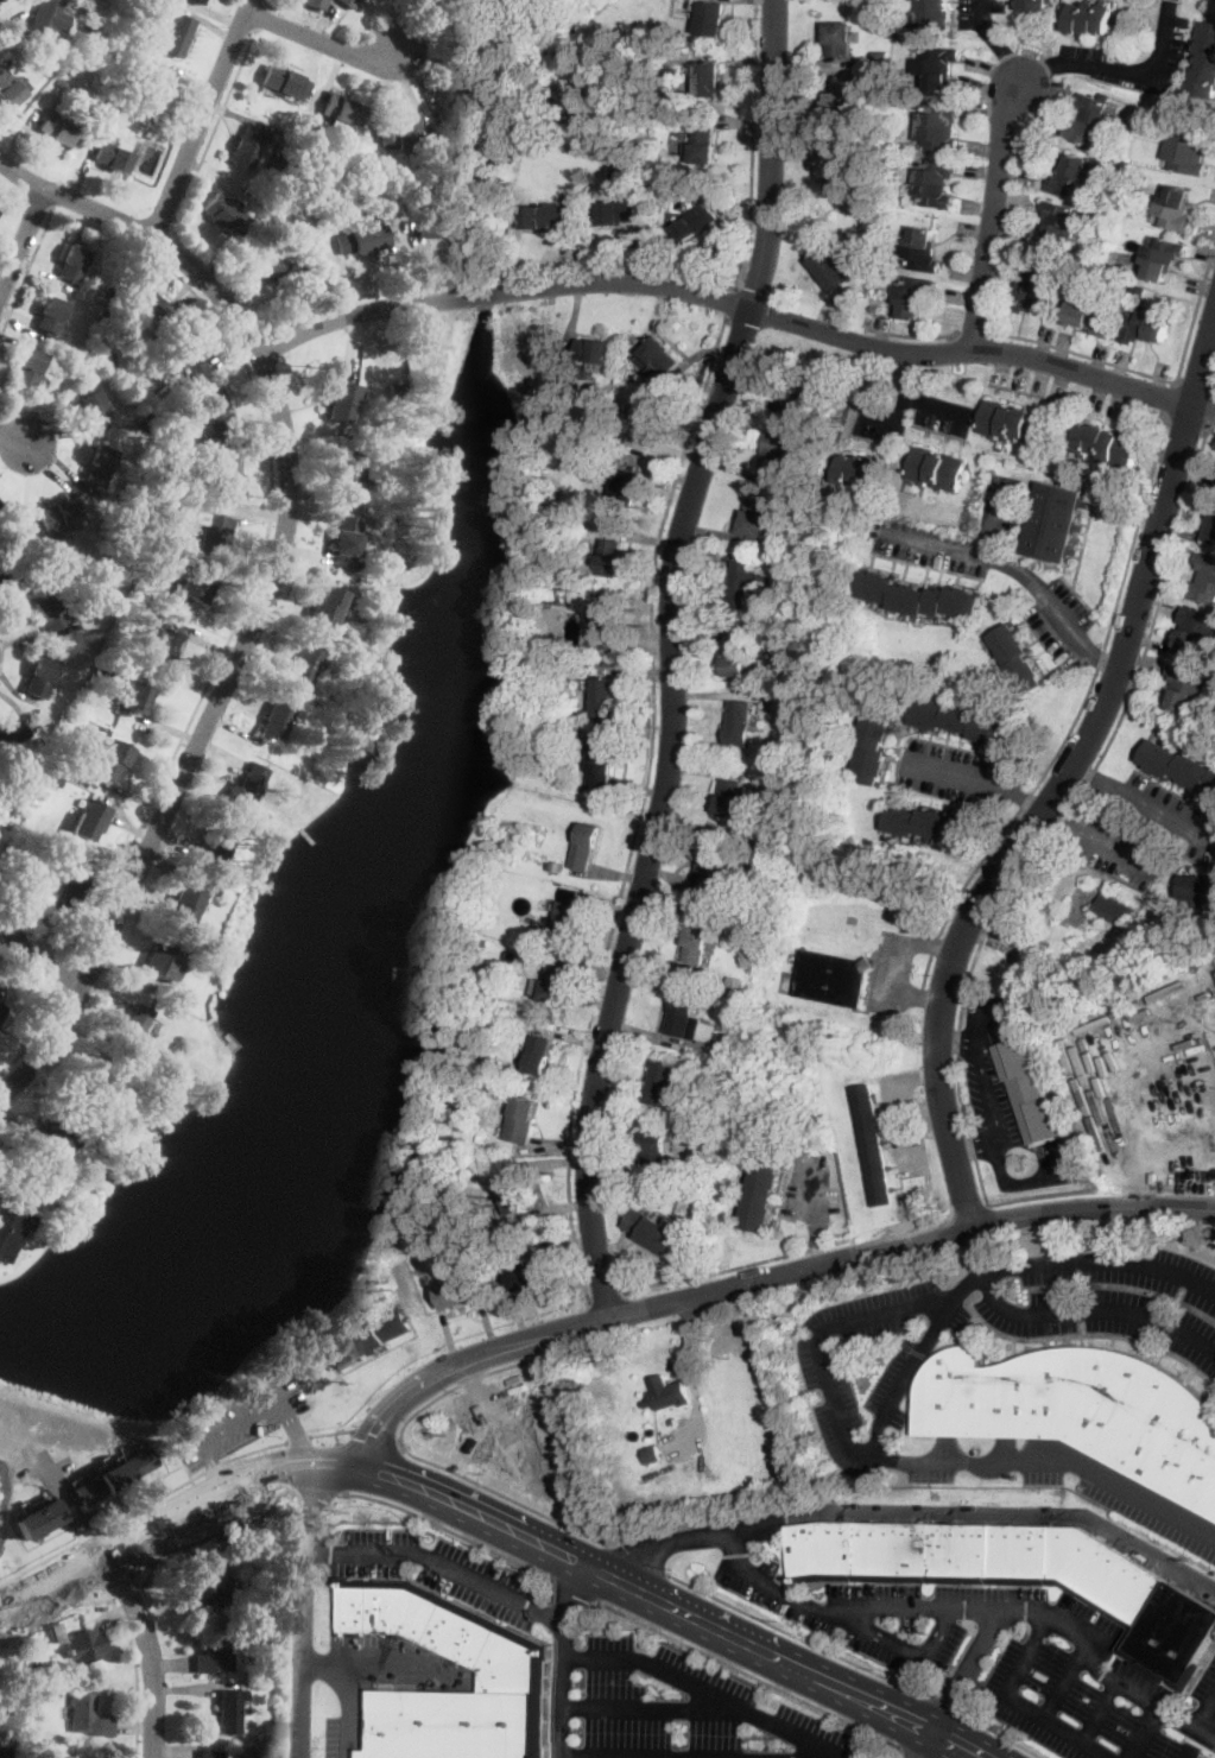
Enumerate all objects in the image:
building: (184, 1)
building: (197, 1)
road: (267, 2)
building: (315, 4)
building: (349, 4)
building: (1034, 5)
building: (113, 6)
building: (45, 15)
building: (932, 15)
road: (261, 18)
building: (1091, 18)
building: (713, 19)
building: (475, 33)
building: (177, 34)
building: (841, 38)
road: (318, 40)
building: (140, 42)
road: (995, 42)
building: (513, 43)
building: (94, 53)
building: (881, 56)
building: (1204, 61)
road: (1119, 67)
building: (52, 68)
building: (937, 69)
building: (68, 74)
building: (708, 78)
building: (61, 82)
building: (286, 82)
building: (488, 82)
building: (862, 83)
building: (156, 87)
building: (10, 89)
building: (266, 90)
building: (458, 91)
building: (128, 96)
road: (227, 102)
building: (113, 108)
building: (840, 109)
building: (342, 113)
road: (201, 119)
building: (1091, 119)
building: (312, 125)
building: (939, 127)
building: (55, 128)
building: (398, 129)
building: (148, 134)
building: (702, 140)
road: (754, 145)
building: (247, 146)
building: (1189, 148)
building: (112, 157)
building: (1072, 177)
building: (842, 181)
building: (935, 182)
road: (13, 190)
building: (248, 192)
building: (527, 200)
road: (37, 204)
building: (1176, 208)
building: (622, 210)
building: (226, 214)
building: (304, 214)
building: (545, 215)
road: (993, 215)
building: (695, 222)
building: (1059, 222)
building: (443, 227)
building: (367, 239)
road: (21, 241)
building: (922, 249)
building: (1163, 257)
building: (71, 261)
building: (830, 268)
building: (280, 272)
road: (25, 273)
road: (498, 278)
building: (113, 291)
building: (1036, 295)
building: (913, 296)
building: (143, 302)
road: (732, 303)
road: (739, 304)
building: (103, 312)
building: (1094, 314)
building: (50, 315)
building: (125, 322)
building: (1146, 325)
building: (118, 333)
road: (975, 334)
road: (915, 336)
road: (252, 342)
road: (1059, 347)
building: (594, 354)
building: (660, 355)
building: (183, 356)
building: (107, 365)
building: (82, 366)
building: (27, 368)
building: (567, 374)
road: (1196, 388)
road: (916, 397)
building: (802, 398)
road: (1171, 400)
building: (340, 403)
building: (91, 407)
building: (214, 411)
road: (1210, 415)
parking lot: (943, 417)
road: (893, 420)
building: (1015, 424)
building: (645, 425)
road: (13, 438)
building: (1109, 445)
building: (780, 451)
building: (99, 468)
building: (937, 469)
building: (348, 470)
building: (860, 470)
building: (226, 475)
building: (171, 483)
building: (627, 492)
building: (816, 497)
building: (170, 506)
building: (57, 517)
road: (996, 518)
building: (758, 519)
building: (1055, 521)
building: (1211, 527)
building: (1, 529)
building: (214, 532)
building: (346, 539)
road: (264, 551)
building: (15, 552)
building: (609, 557)
building: (797, 558)
road: (1001, 559)
parking lot: (998, 563)
building: (354, 565)
building: (0, 574)
building: (154, 574)
building: (1204, 580)
building: (191, 583)
building: (742, 584)
building: (8, 587)
road: (268, 590)
building: (919, 597)
building: (135, 601)
building: (795, 602)
building: (369, 605)
building: (327, 607)
building: (46, 613)
building: (607, 624)
building: (72, 626)
building: (1195, 630)
building: (99, 639)
building: (165, 645)
building: (342, 645)
building: (735, 653)
road: (675, 657)
building: (375, 659)
road: (1100, 659)
building: (1018, 660)
road: (1100, 663)
building: (303, 666)
building: (792, 666)
building: (39, 679)
building: (1184, 688)
building: (606, 697)
building: (133, 698)
building: (69, 704)
building: (82, 704)
building: (572, 713)
building: (74, 719)
building: (958, 721)
building: (273, 723)
building: (740, 723)
building: (11, 732)
building: (1211, 733)
building: (873, 747)
building: (790, 748)
building: (109, 758)
building: (601, 764)
building: (1179, 766)
road: (950, 771)
parking lot: (954, 771)
building: (53, 778)
road: (1063, 779)
building: (246, 788)
building: (25, 792)
building: (729, 796)
road: (1018, 797)
building: (45, 801)
road: (1144, 802)
road: (641, 810)
building: (4, 811)
building: (89, 820)
building: (932, 824)
road: (1093, 837)
building: (216, 841)
parking lot: (1115, 845)
building: (586, 846)
building: (30, 847)
building: (2, 855)
road: (1031, 865)
building: (550, 866)
building: (713, 866)
building: (557, 867)
building: (64, 883)
building: (1198, 889)
building: (211, 890)
building: (746, 900)
building: (186, 903)
building: (1115, 909)
building: (569, 919)
building: (540, 924)
building: (696, 943)
building: (536, 957)
road: (40, 960)
building: (164, 960)
road: (898, 968)
parking lot: (892, 970)
road: (71, 974)
building: (833, 978)
building: (734, 979)
building: (552, 986)
building: (169, 995)
building: (1, 1007)
building: (691, 1020)
building: (129, 1029)
road: (974, 1030)
road: (38, 1035)
building: (539, 1055)
building: (716, 1071)
building: (663, 1081)
building: (93, 1083)
road: (987, 1084)
building: (716, 1086)
building: (1027, 1090)
road: (894, 1101)
parking lot: (1005, 1101)
building: (521, 1120)
parking lot: (904, 1121)
building: (481, 1139)
building: (49, 1145)
building: (873, 1145)
building: (656, 1147)
building: (493, 1149)
building: (672, 1174)
road: (1001, 1174)
parking lot: (809, 1191)
building: (761, 1194)
road: (817, 1195)
building: (517, 1196)
building: (13, 1216)
building: (656, 1228)
road: (820, 1242)
road: (979, 1247)
road: (783, 1256)
building: (529, 1277)
road: (762, 1279)
road: (987, 1286)
building: (458, 1295)
parking lot: (1108, 1297)
building: (368, 1340)
parking lot: (913, 1355)
road: (467, 1380)
building: (667, 1393)
building: (1081, 1410)
parking lot: (836, 1414)
parking lot: (240, 1418)
road: (238, 1421)
building: (672, 1422)
road: (292, 1429)
road: (330, 1436)
road: (844, 1437)
road: (298, 1440)
road: (374, 1441)
building: (651, 1454)
road: (1053, 1459)
road: (210, 1462)
road: (376, 1463)
building: (114, 1476)
road: (234, 1479)
road: (312, 1490)
road: (505, 1493)
road: (68, 1506)
road: (141, 1509)
road: (981, 1511)
road: (209, 1512)
building: (38, 1519)
road: (450, 1529)
road: (621, 1557)
road: (639, 1557)
road: (114, 1563)
road: (442, 1563)
parking lot: (443, 1570)
building: (1018, 1575)
road: (58, 1577)
building: (215, 1582)
road: (576, 1593)
road: (799, 1598)
road: (173, 1605)
road: (304, 1607)
road: (677, 1607)
road: (118, 1610)
road: (335, 1610)
road: (116, 1614)
parking lot: (865, 1614)
building: (57, 1631)
road: (796, 1633)
building: (86, 1645)
road: (905, 1646)
road: (148, 1650)
road: (975, 1655)
building: (213, 1657)
road: (565, 1657)
road: (1089, 1661)
road: (171, 1663)
building: (508, 1665)
road: (376, 1669)
road: (751, 1675)
parking lot: (1083, 1681)
road: (1063, 1684)
road: (195, 1688)
road: (710, 1693)
road: (1010, 1693)
building: (24, 1699)
road: (945, 1701)
road: (653, 1707)
building: (230, 1709)
parking lot: (672, 1709)
road: (1102, 1709)
road: (1151, 1709)
road: (1205, 1712)
road: (348, 1713)
building: (88, 1715)
road: (938, 1725)
road: (137, 1726)
road: (1205, 1733)
road: (1001, 1734)
building: (246, 1735)
road: (175, 1750)
building: (4, 1752)
road: (925, 1752)
road: (1189, 1753)
building: (210, 1754)
road: (909, 1754)
road: (660, 1756)
building: (68, 1757)

